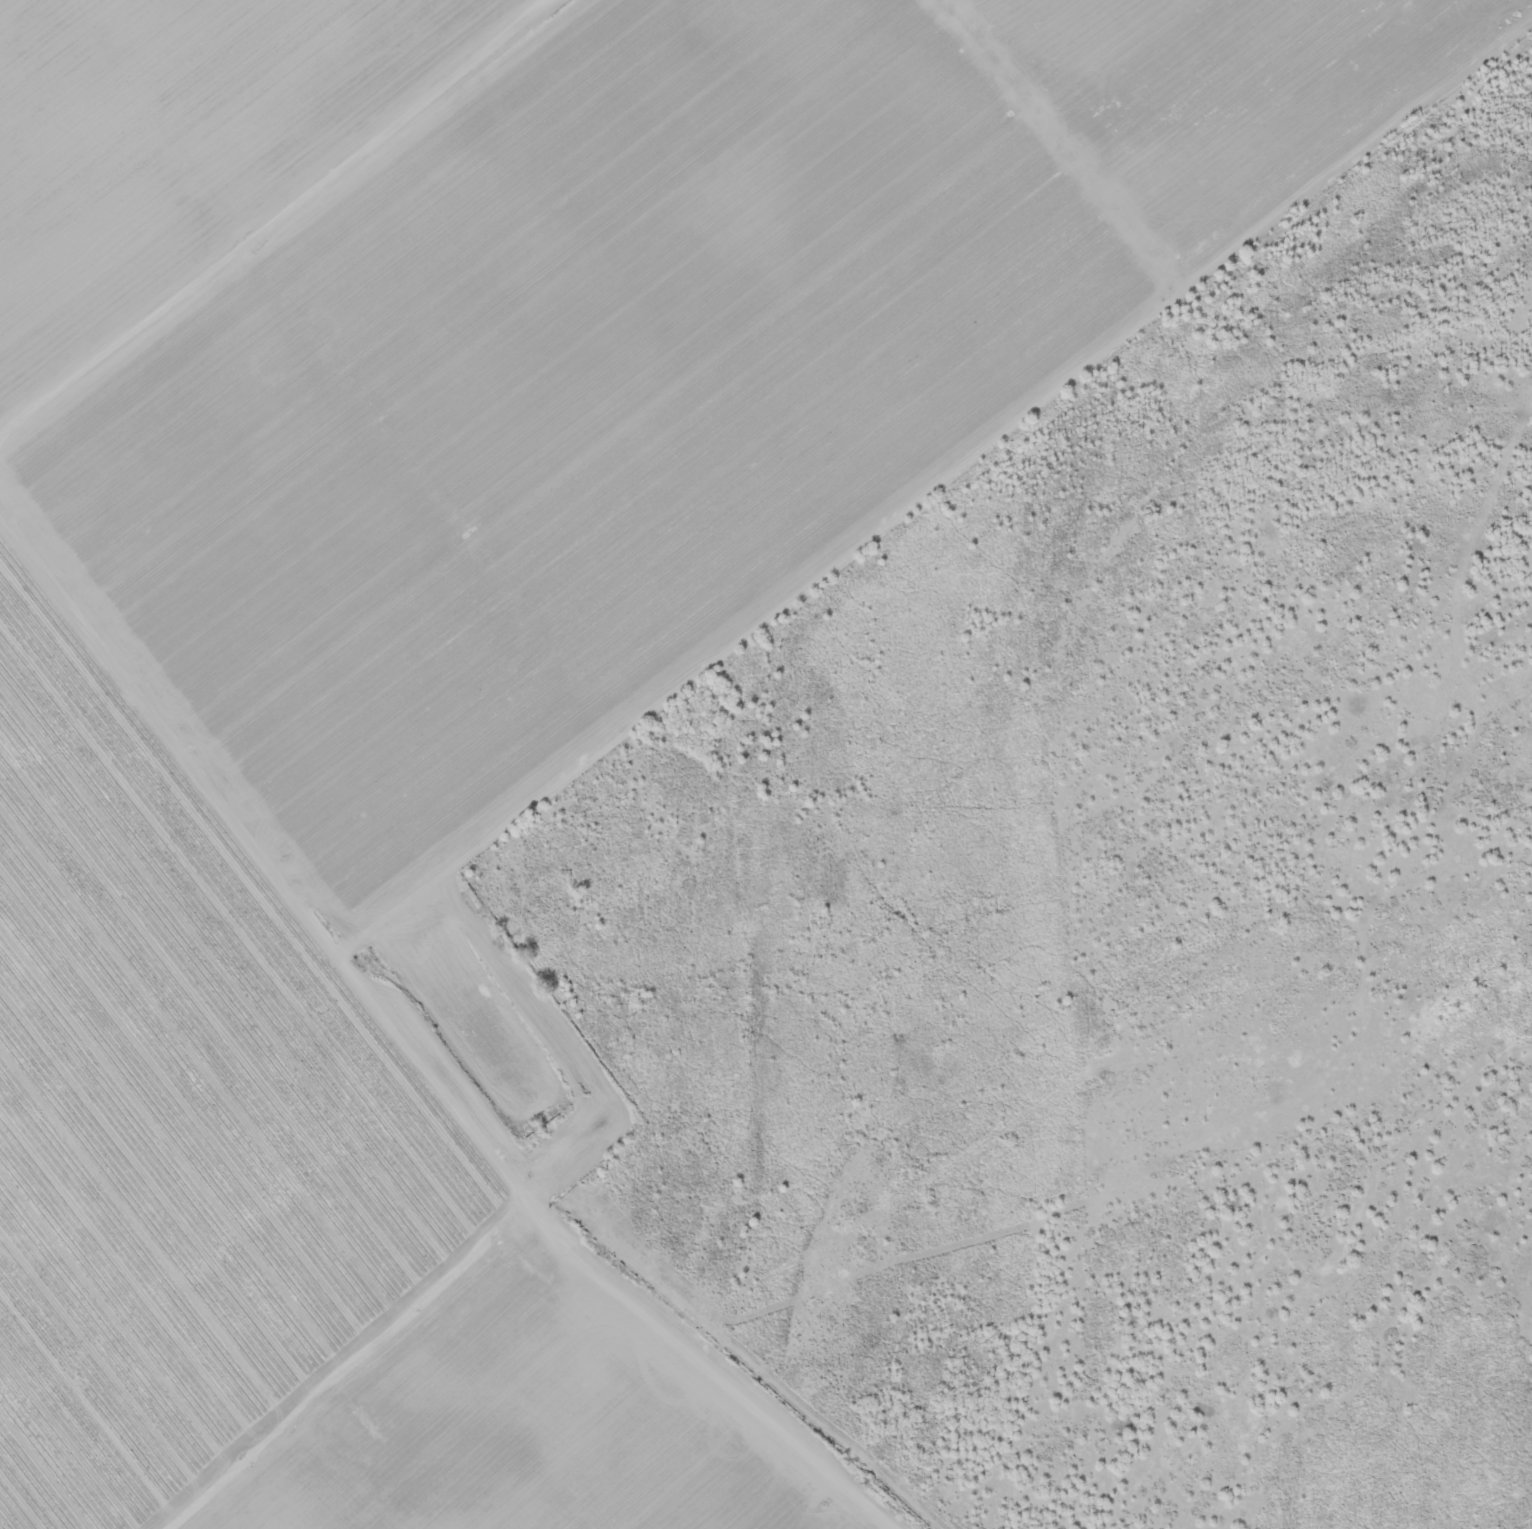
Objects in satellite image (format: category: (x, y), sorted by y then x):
road: (629, 731)

